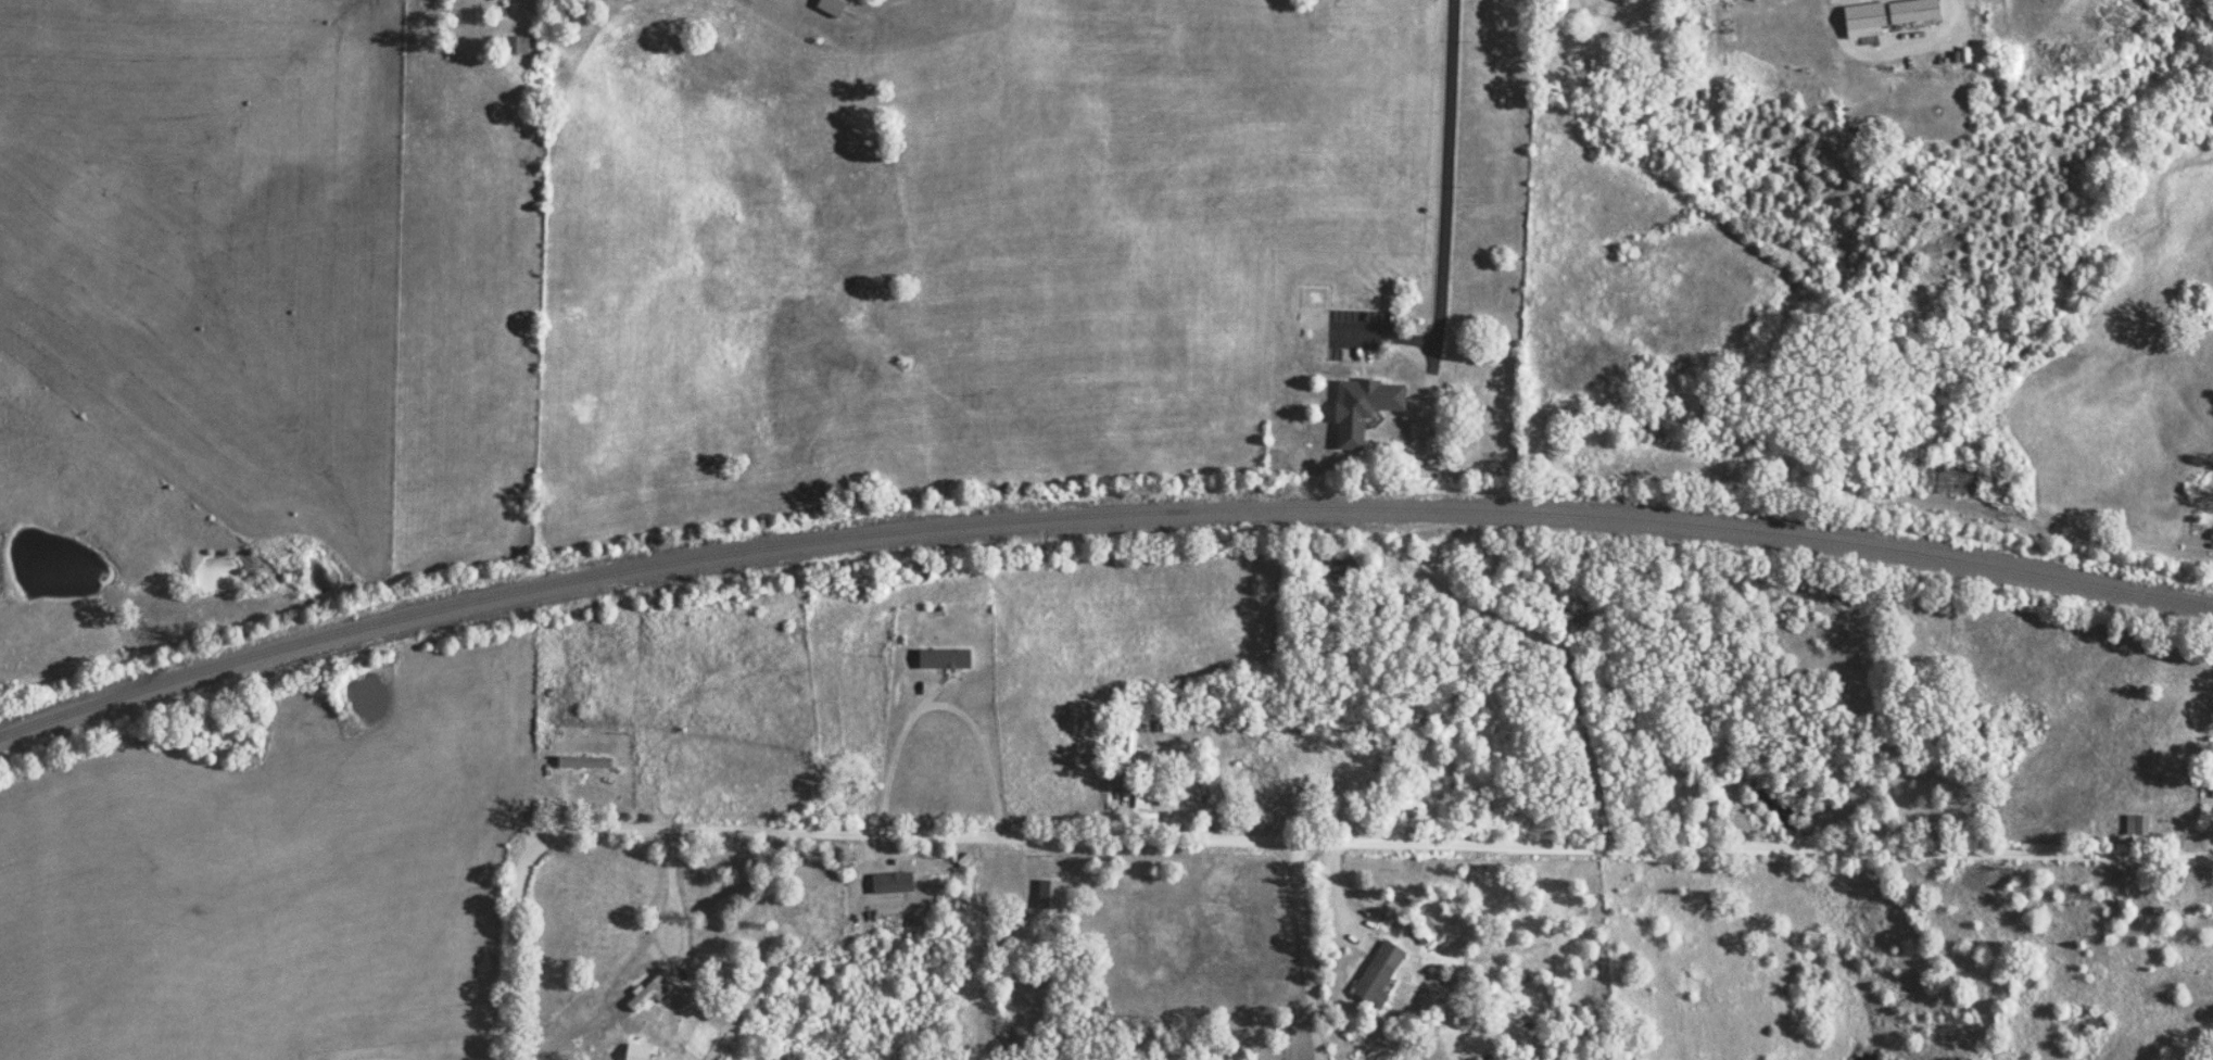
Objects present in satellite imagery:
building: (830, 7)
building: (1885, 16)
building: (514, 45)
road: (1438, 209)
building: (1361, 408)
building: (1429, 446)
railway: (1096, 514)
road: (1551, 647)
building: (943, 658)
building: (1127, 756)
building: (583, 762)
building: (1140, 802)
building: (2136, 824)
road: (1384, 838)
road: (1133, 889)
building: (1047, 894)
road: (513, 937)
road: (1308, 949)
building: (1377, 973)
building: (649, 989)
building: (638, 1052)

